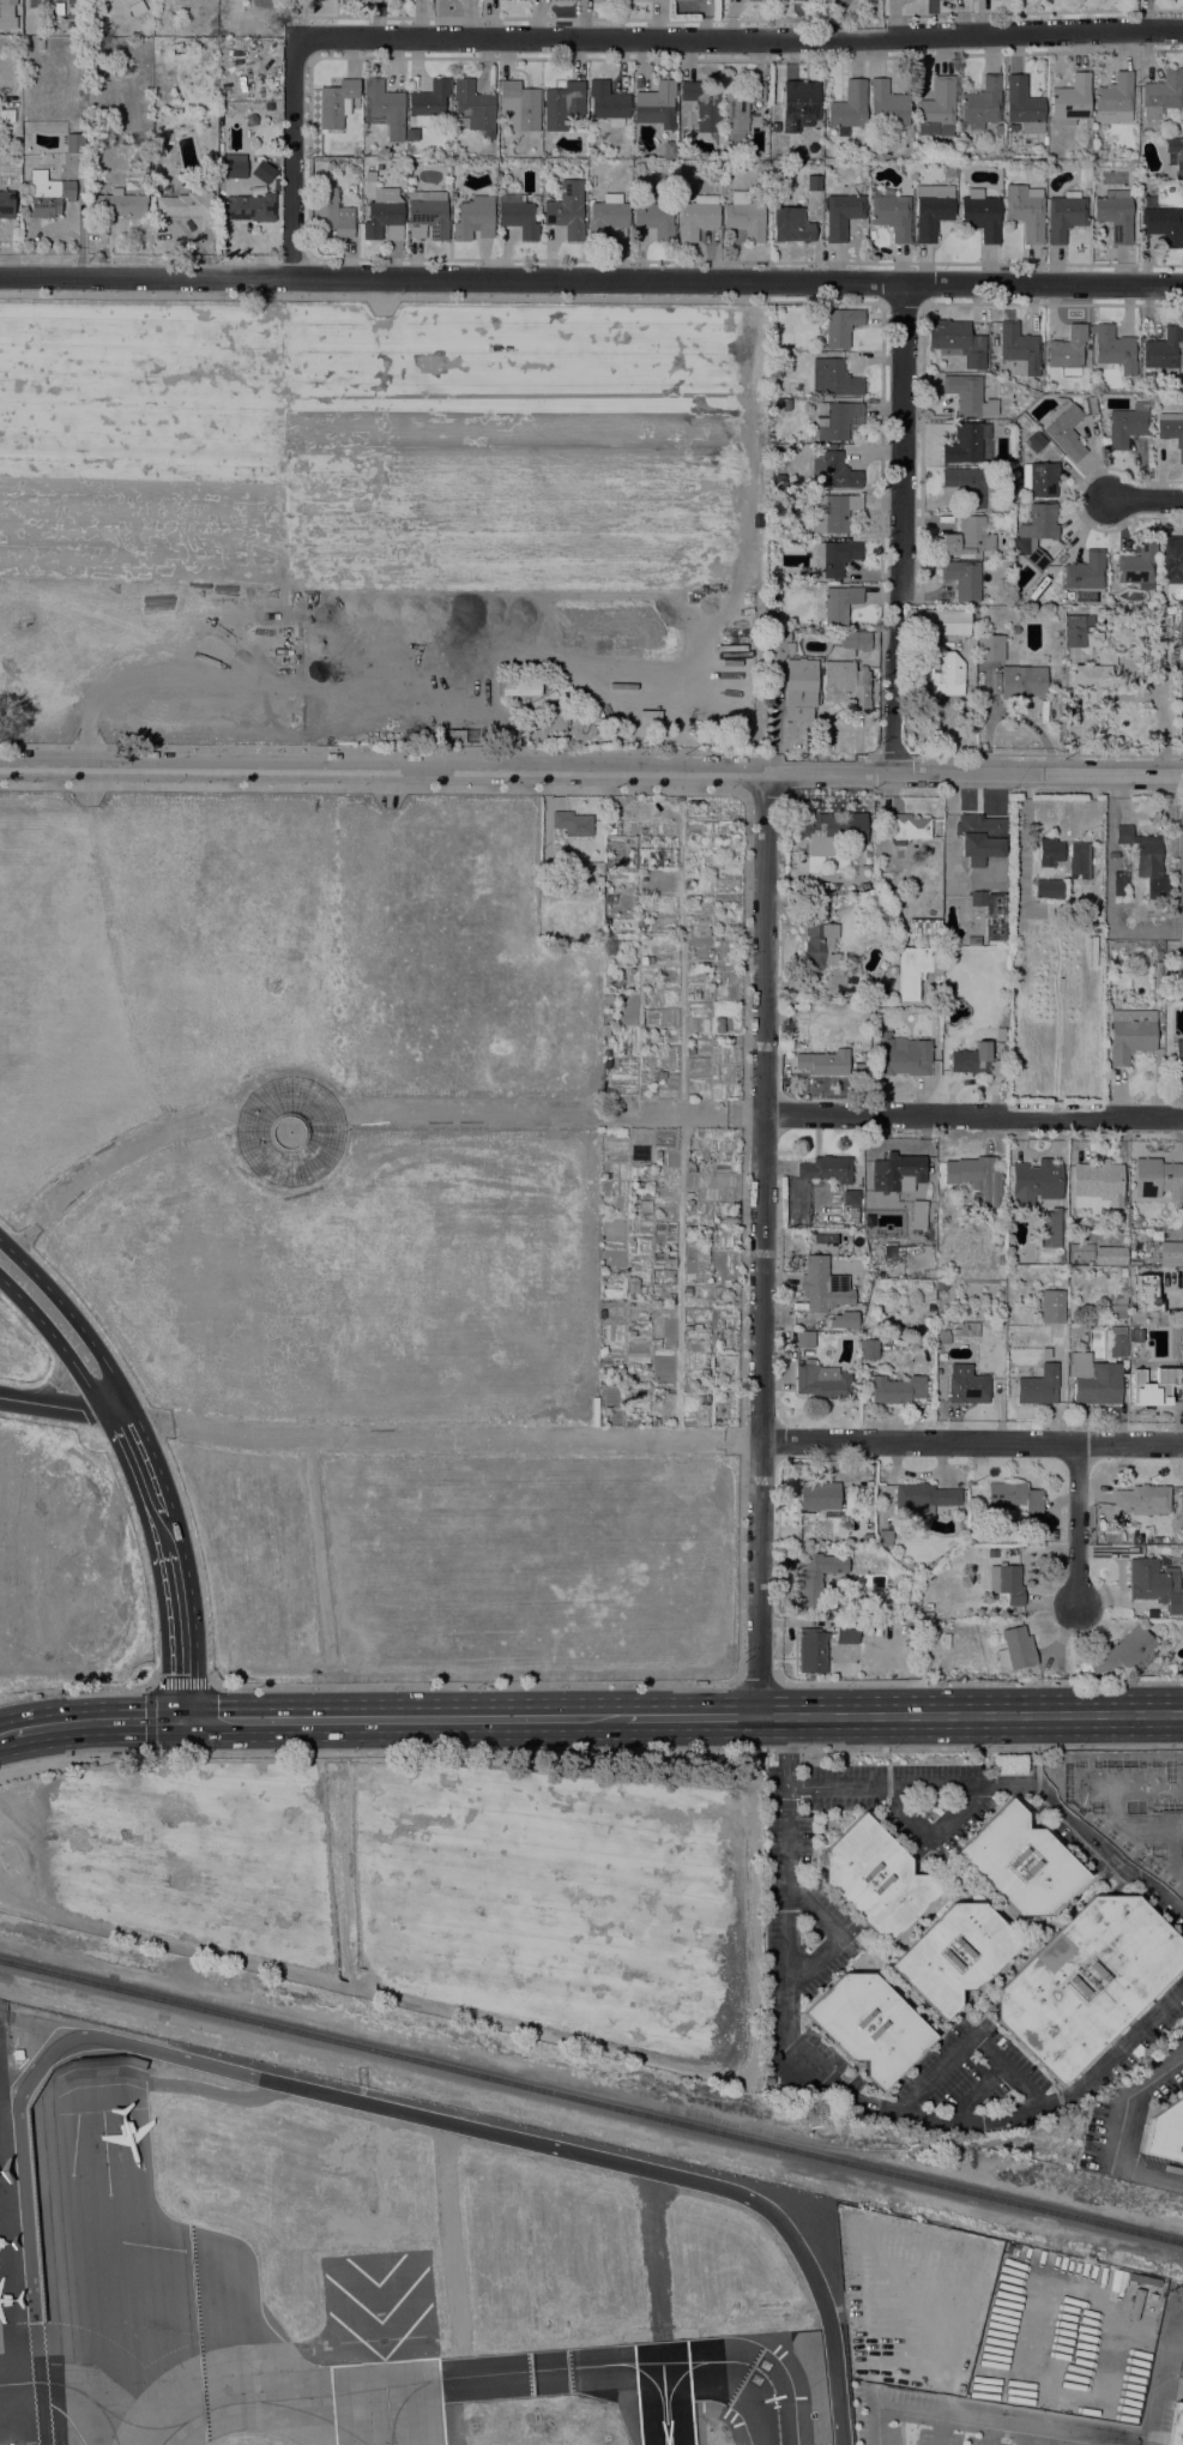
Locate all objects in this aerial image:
building: (681, 0)
building: (755, 0)
building: (376, 1)
building: (32, 2)
building: (137, 8)
building: (5, 12)
building: (74, 14)
road: (839, 17)
road: (740, 38)
building: (1163, 95)
building: (1113, 100)
building: (1070, 101)
building: (429, 102)
building: (336, 103)
building: (608, 103)
building: (562, 104)
building: (656, 104)
building: (799, 104)
building: (887, 104)
building: (980, 104)
building: (519, 106)
building: (702, 106)
building: (1024, 106)
building: (740, 107)
building: (384, 108)
building: (473, 108)
building: (849, 108)
building: (936, 108)
building: (6, 115)
building: (997, 130)
building: (1182, 131)
building: (74, 143)
building: (669, 150)
building: (502, 151)
building: (536, 151)
building: (1100, 153)
building: (873, 155)
building: (1175, 155)
road: (291, 161)
building: (231, 168)
building: (409, 168)
building: (355, 170)
building: (1040, 170)
building: (262, 171)
building: (814, 183)
building: (48, 194)
building: (120, 204)
building: (6, 205)
building: (186, 205)
building: (249, 207)
building: (567, 210)
building: (931, 210)
building: (1026, 211)
building: (332, 213)
building: (382, 213)
building: (428, 215)
building: (841, 215)
building: (1115, 215)
building: (518, 216)
building: (744, 216)
building: (893, 216)
building: (1064, 216)
building: (609, 217)
building: (980, 217)
building: (475, 218)
building: (654, 219)
building: (696, 221)
building: (1163, 224)
building: (791, 225)
road: (591, 278)
road: (378, 295)
building: (838, 325)
building: (956, 342)
building: (1113, 348)
building: (1019, 349)
building: (1165, 349)
building: (1067, 350)
building: (833, 379)
building: (968, 396)
building: (780, 405)
building: (1091, 405)
crop: (484, 418)
building: (838, 420)
building: (1128, 424)
building: (1066, 429)
building: (1171, 430)
building: (1034, 441)
building: (965, 442)
building: (832, 470)
building: (1038, 480)
building: (778, 481)
building: (970, 484)
road: (1147, 499)
building: (833, 512)
building: (1040, 522)
road: (905, 528)
building: (967, 538)
building: (1020, 546)
building: (832, 558)
building: (1037, 559)
building: (1172, 560)
building: (1016, 561)
building: (1137, 565)
building: (1086, 572)
building: (962, 579)
building: (772, 591)
building: (839, 603)
building: (937, 621)
building: (1076, 630)
building: (1014, 631)
building: (1093, 639)
building: (855, 640)
building: (990, 648)
building: (777, 650)
building: (1175, 662)
building: (938, 676)
building: (1093, 676)
building: (1022, 681)
building: (845, 682)
building: (547, 683)
building: (520, 687)
building: (799, 689)
building: (543, 699)
building: (648, 716)
building: (553, 718)
building: (458, 737)
road: (379, 748)
road: (591, 771)
road: (531, 789)
building: (610, 818)
building: (572, 823)
building: (907, 827)
building: (831, 831)
building: (979, 838)
building: (642, 851)
building: (1076, 851)
building: (1049, 853)
building: (1146, 861)
building: (642, 863)
building: (1119, 883)
building: (1048, 889)
building: (610, 899)
building: (891, 909)
building: (991, 913)
building: (922, 931)
building: (598, 933)
building: (819, 935)
building: (1173, 935)
building: (973, 941)
building: (948, 950)
building: (1157, 954)
building: (916, 969)
building: (892, 970)
building: (606, 1002)
building: (796, 1002)
building: (1130, 1035)
building: (651, 1040)
building: (642, 1047)
building: (1178, 1053)
building: (903, 1055)
building: (976, 1061)
building: (823, 1062)
building: (605, 1064)
building: (856, 1064)
road: (563, 1112)
road: (973, 1114)
building: (286, 1132)
building: (657, 1158)
building: (827, 1169)
building: (897, 1170)
building: (976, 1179)
building: (1157, 1179)
building: (1034, 1184)
building: (1097, 1186)
building: (851, 1198)
building: (689, 1203)
building: (918, 1208)
building: (729, 1221)
building: (1172, 1222)
building: (1049, 1228)
crop: (350, 1229)
building: (689, 1229)
building: (858, 1240)
building: (630, 1242)
road: (762, 1245)
building: (1080, 1252)
building: (1171, 1254)
building: (1110, 1255)
building: (1060, 1257)
building: (1134, 1263)
building: (608, 1275)
building: (823, 1285)
building: (941, 1285)
building: (633, 1288)
building: (1085, 1288)
building: (687, 1291)
building: (1146, 1294)
building: (1051, 1306)
building: (1117, 1307)
building: (938, 1315)
road: (677, 1317)
building: (844, 1320)
building: (1159, 1323)
building: (927, 1324)
road: (80, 1327)
building: (942, 1336)
building: (803, 1338)
building: (1117, 1341)
building: (654, 1344)
building: (1176, 1348)
building: (869, 1349)
road: (66, 1356)
building: (704, 1374)
building: (1093, 1380)
building: (821, 1381)
road: (50, 1385)
building: (966, 1385)
building: (1038, 1386)
building: (1155, 1387)
building: (897, 1390)
road: (62, 1408)
road: (156, 1432)
road: (971, 1441)
road: (147, 1475)
building: (819, 1495)
building: (923, 1499)
building: (1142, 1499)
building: (1014, 1500)
building: (803, 1516)
road: (1076, 1522)
road: (167, 1534)
building: (883, 1537)
building: (991, 1553)
road: (141, 1554)
building: (816, 1578)
building: (1006, 1583)
building: (1154, 1585)
building: (845, 1634)
road: (183, 1636)
building: (1015, 1650)
building: (811, 1651)
building: (1123, 1651)
road: (740, 1661)
road: (982, 1681)
road: (758, 1684)
road: (150, 1688)
road: (74, 1690)
road: (970, 1714)
road: (689, 1716)
road: (404, 1718)
road: (97, 1720)
traffic signals: (186, 1720)
road: (5, 1733)
road: (590, 1750)
road: (792, 1750)
road: (783, 1756)
building: (1009, 1764)
road: (988, 1782)
road: (1136, 1831)
road: (929, 1837)
road: (1107, 1853)
building: (1021, 1862)
road: (1169, 1875)
building: (876, 1879)
road: (837, 1933)
building: (954, 1955)
building: (1087, 1982)
building: (869, 2025)
road: (968, 2038)
building: (17, 2054)
road: (338, 2096)
road: (973, 2096)
railway: (591, 2103)
road: (876, 2114)
road: (1125, 2132)
building: (1165, 2132)
airport: (380, 2269)
airport taxiway: (489, 2375)
airport taxiway: (652, 2385)
airport taxiway: (674, 2386)
airport taxiway: (71, 2390)
airport runway: (664, 2395)
airport taxiway: (405, 2402)
airport runway: (386, 2403)
airport taxiway: (310, 2416)
road: (985, 2422)
building: (1176, 2425)
airport taxiway: (144, 2426)
airport taxiway: (777, 2440)

